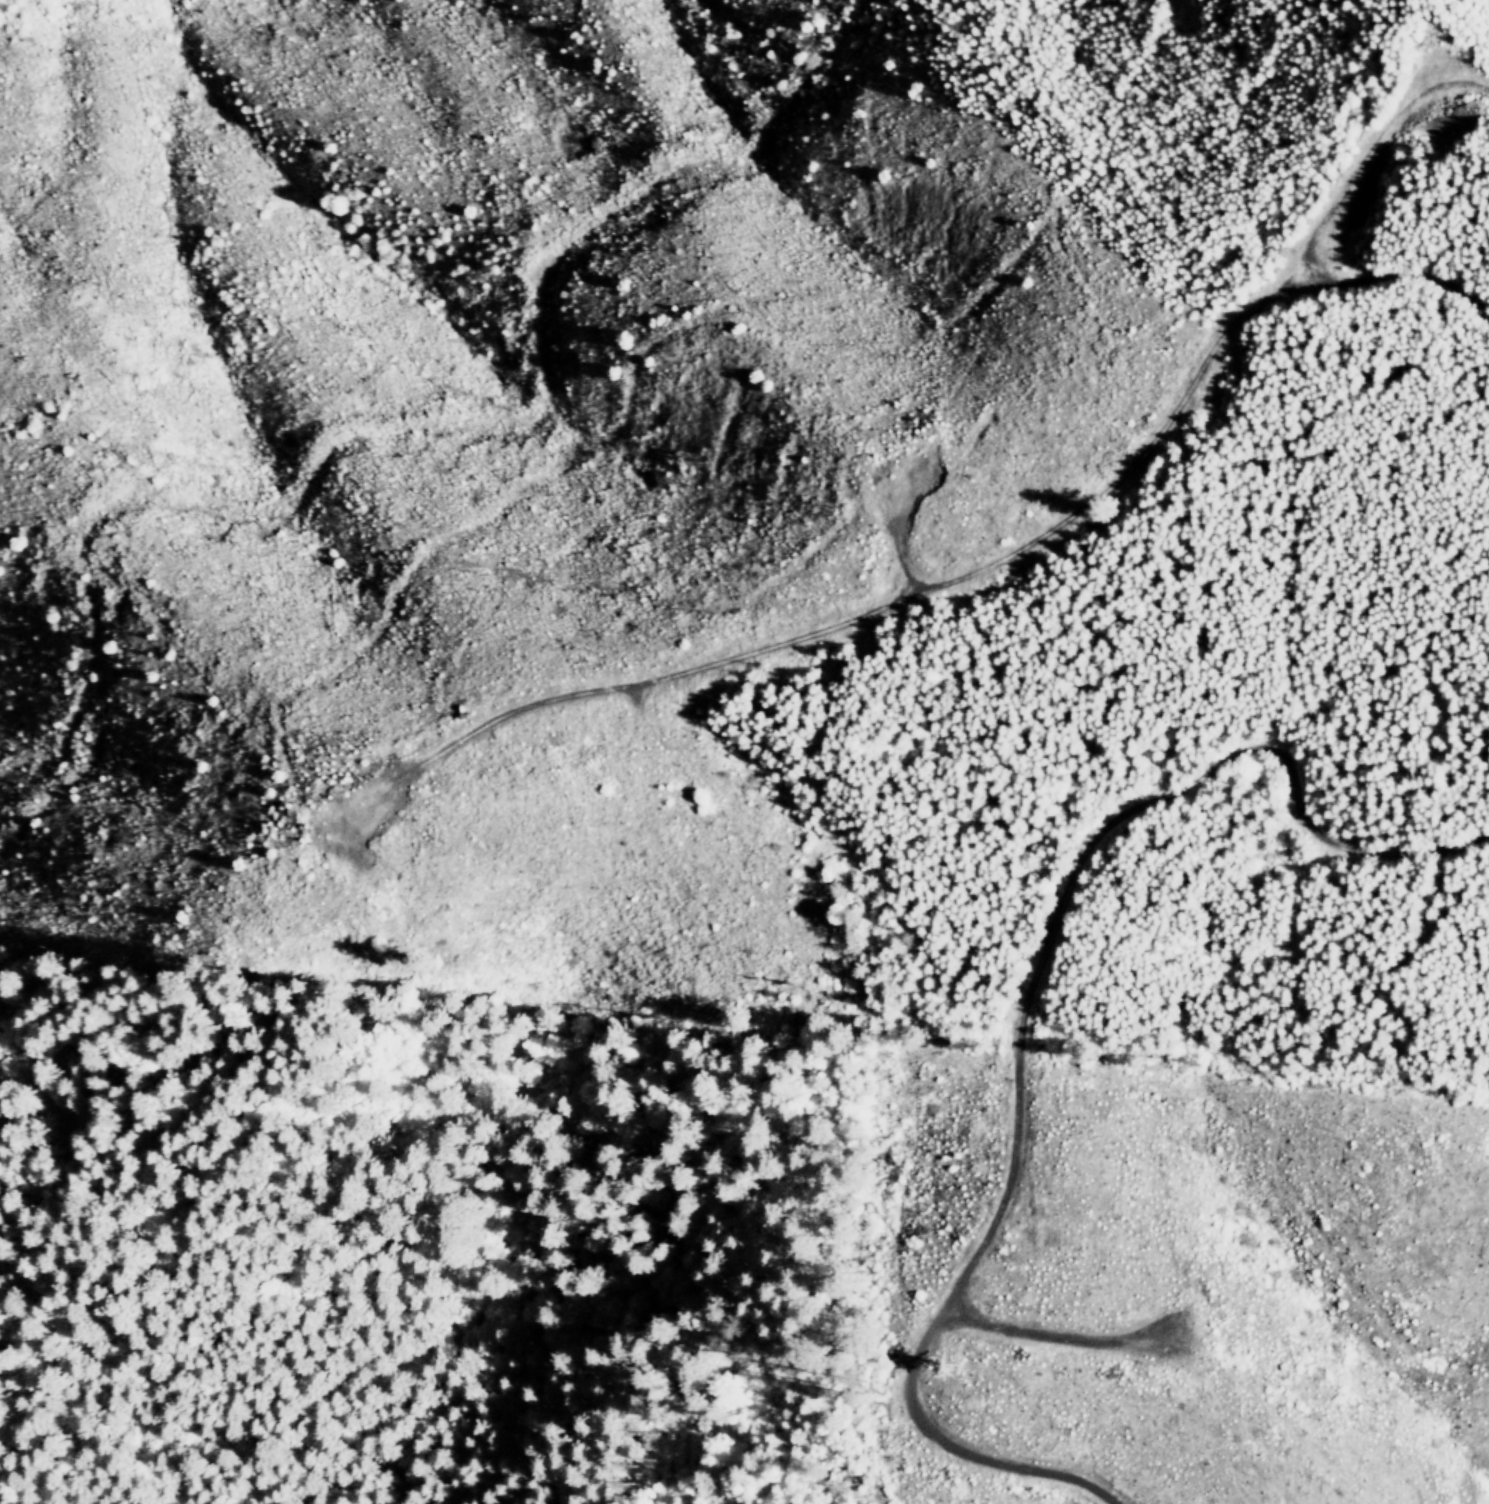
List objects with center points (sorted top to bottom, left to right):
road: (1145, 259)
road: (539, 264)

